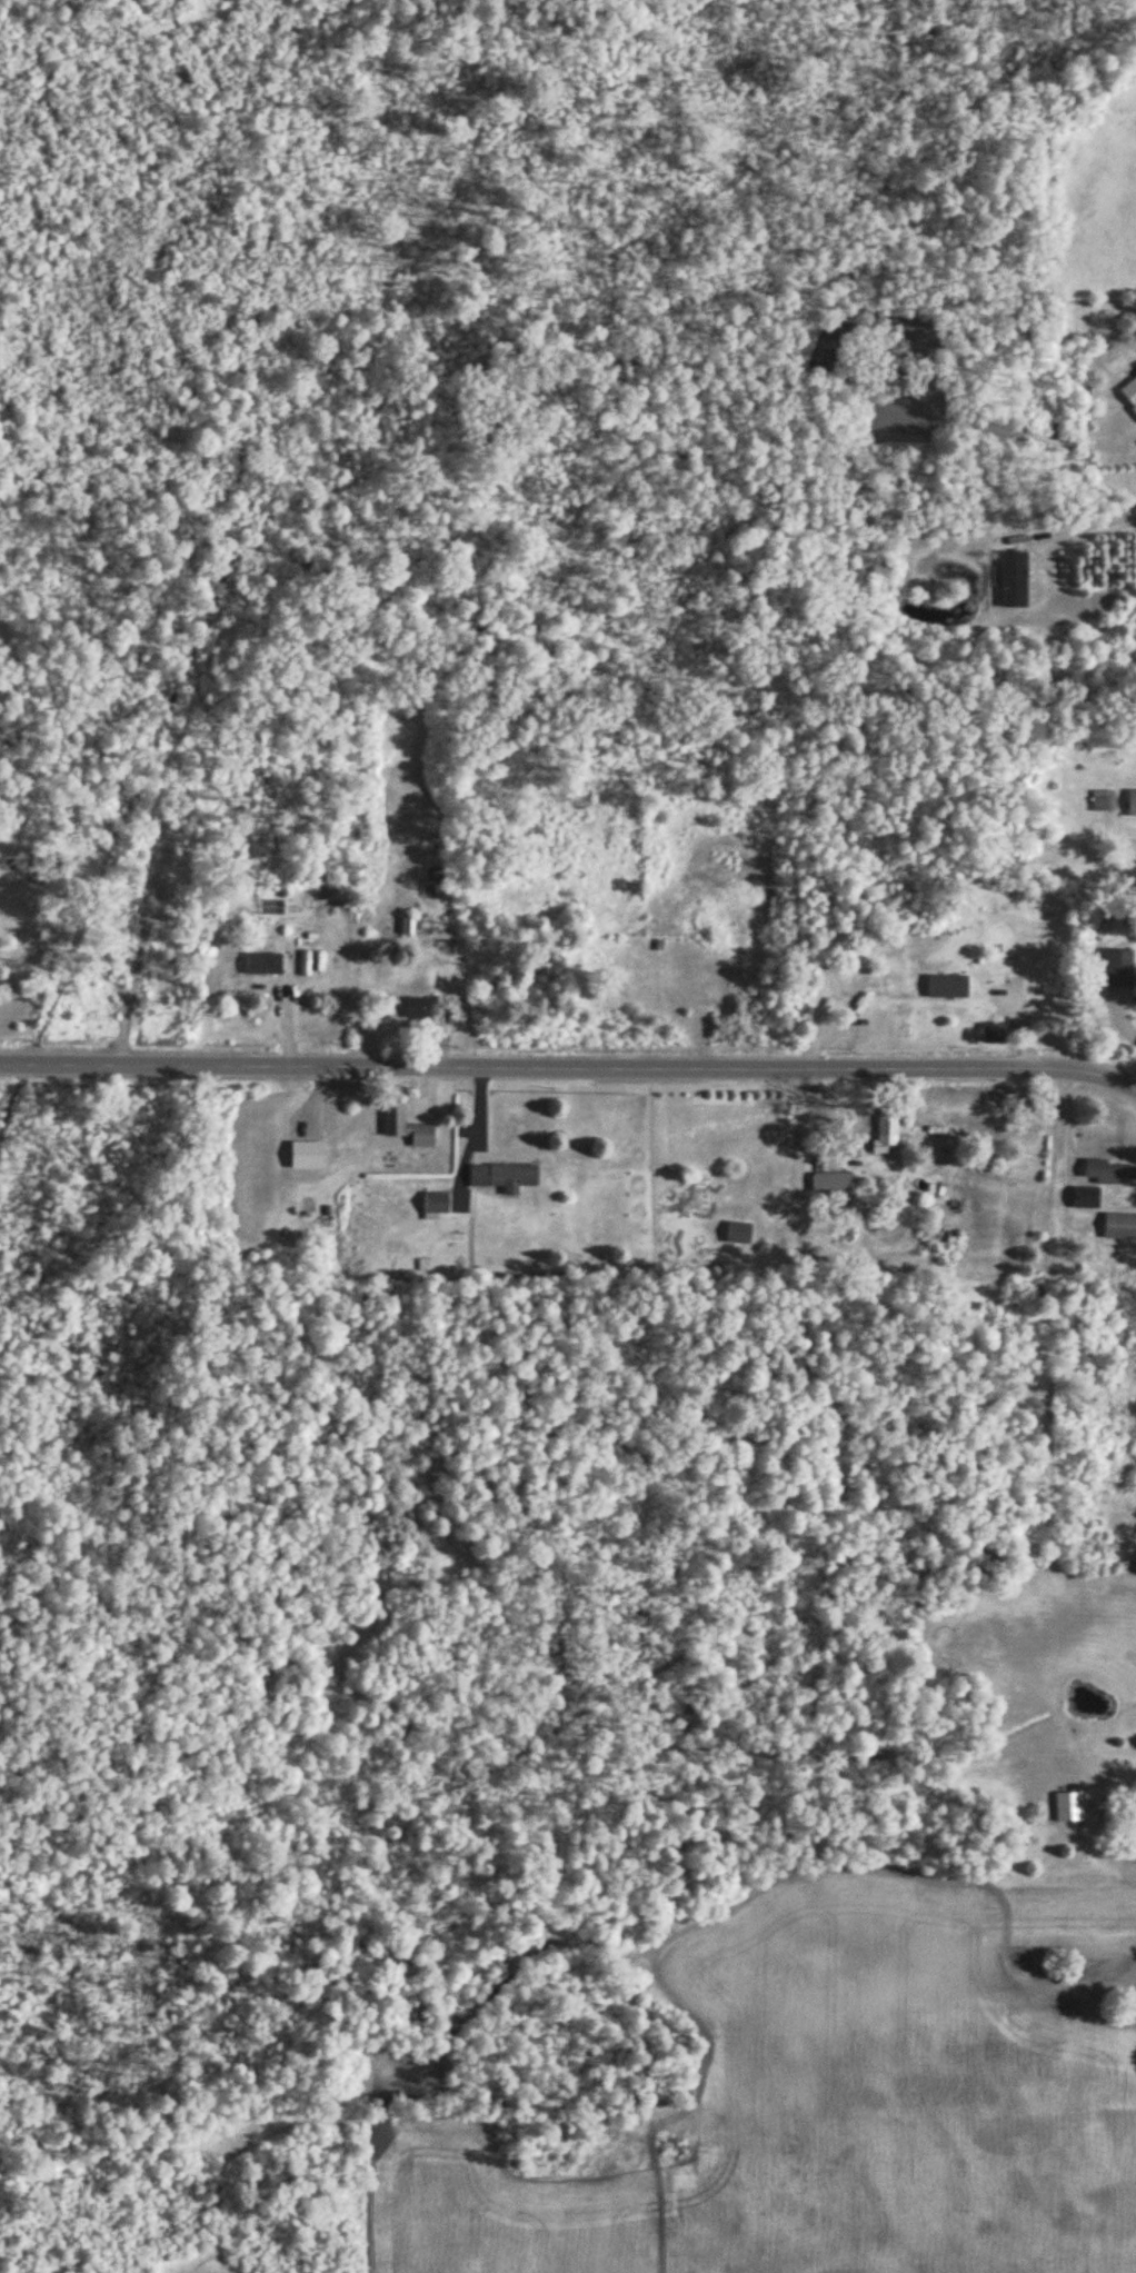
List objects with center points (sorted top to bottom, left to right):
building: (1128, 392)
road: (1074, 528)
building: (1103, 800)
building: (1130, 804)
building: (159, 868)
building: (405, 926)
building: (261, 963)
building: (1116, 968)
building: (946, 986)
building: (799, 1003)
building: (416, 1009)
building: (995, 1034)
road: (569, 1064)
building: (403, 1127)
building: (1109, 1172)
building: (502, 1177)
building: (830, 1183)
building: (1089, 1197)
building: (436, 1203)
building: (1118, 1227)
building: (737, 1233)
road: (576, 1496)
building: (1068, 1806)

